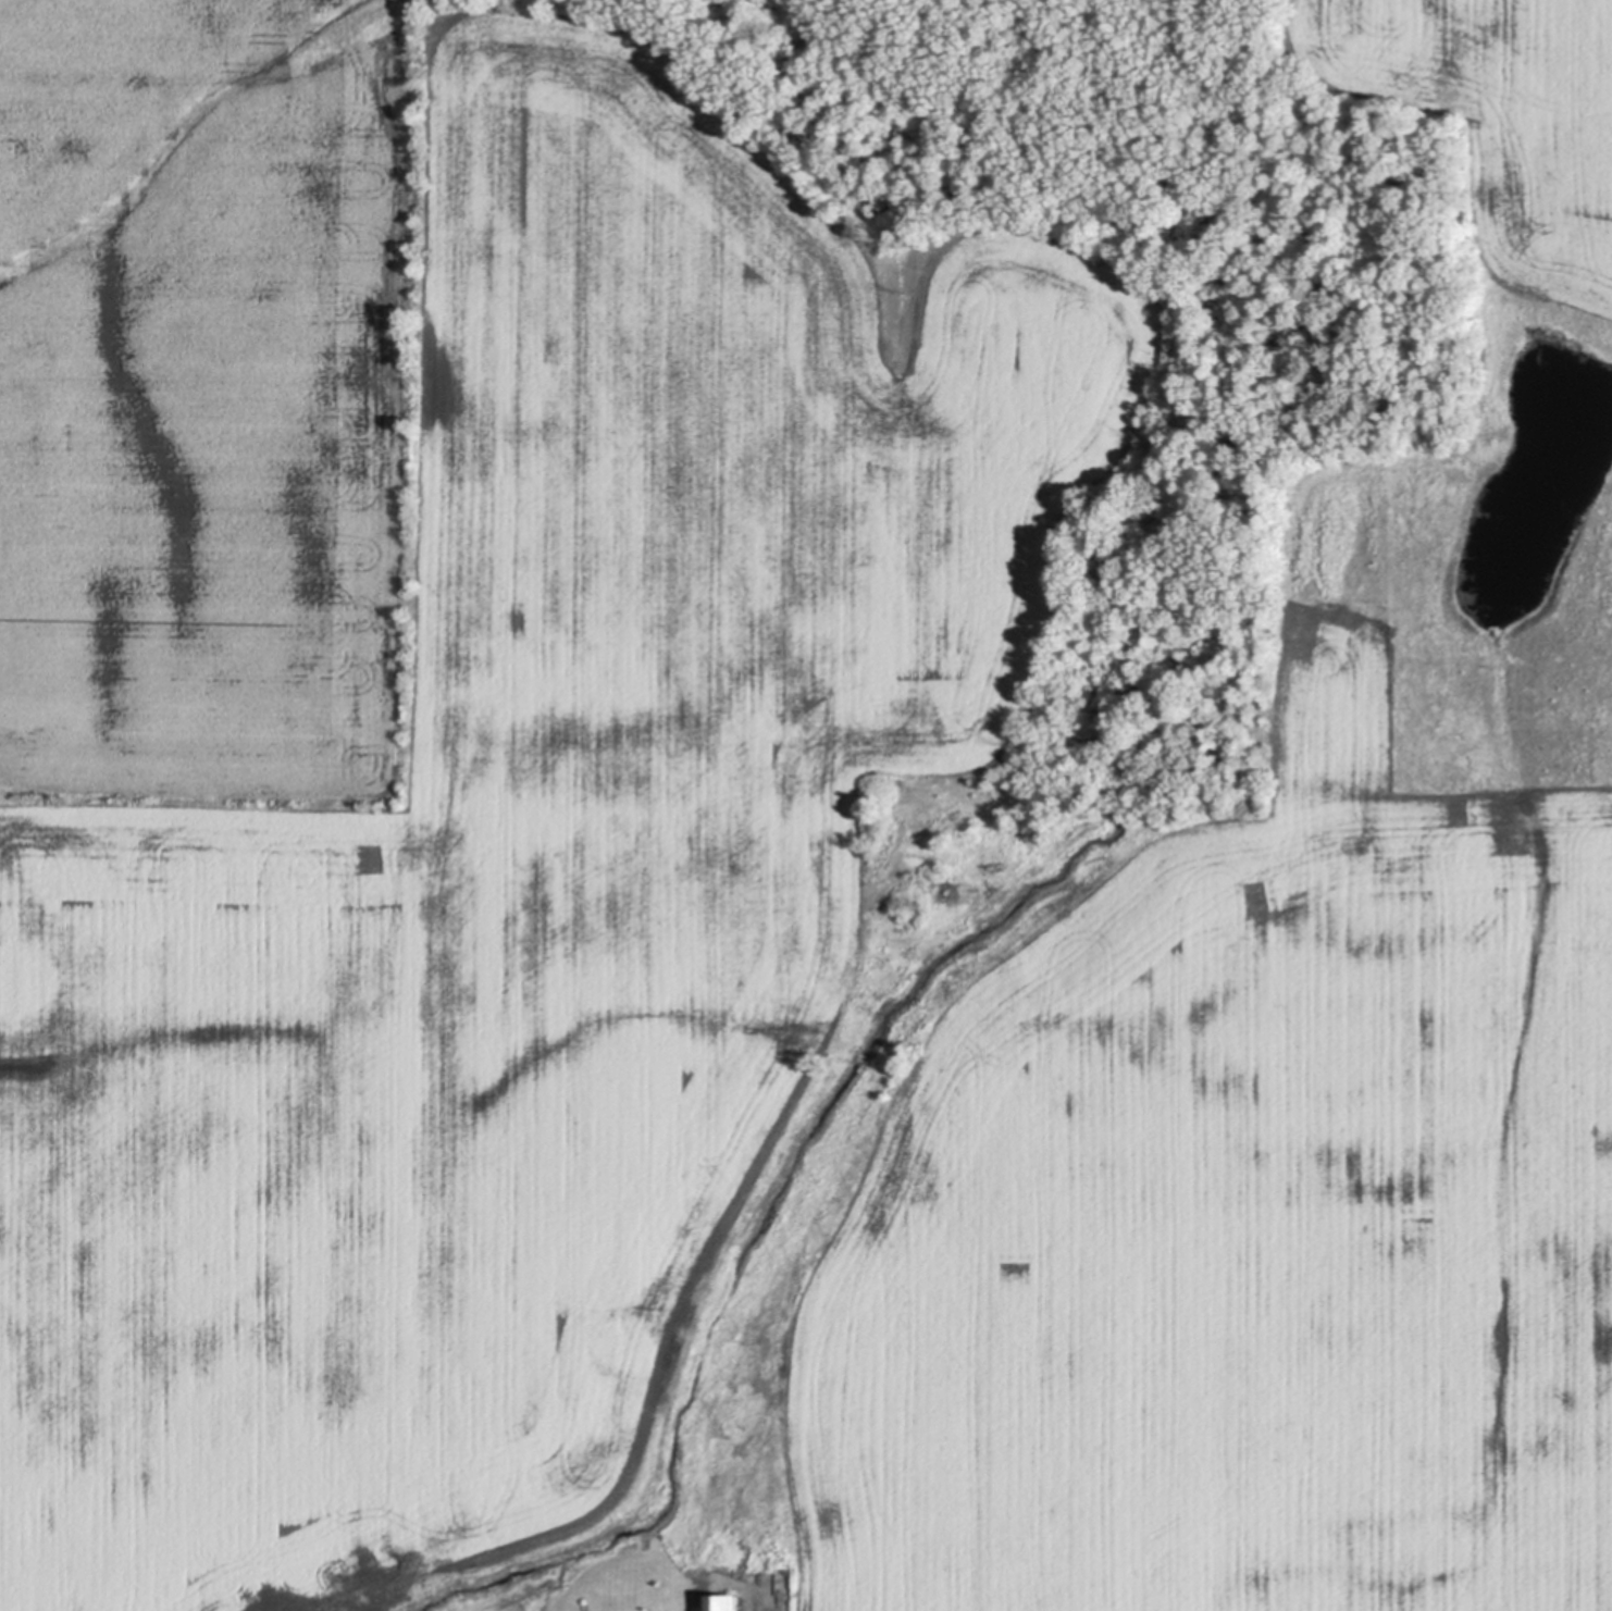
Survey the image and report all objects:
building: (726, 1599)

